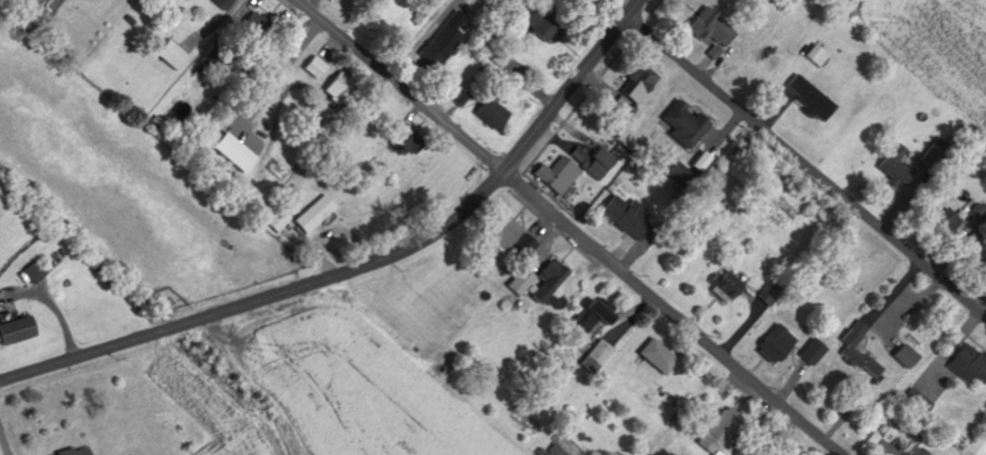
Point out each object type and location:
building: (223, 4)
building: (423, 12)
building: (259, 22)
building: (535, 27)
building: (711, 27)
building: (441, 42)
building: (171, 55)
building: (313, 67)
building: (638, 84)
road: (398, 86)
building: (336, 87)
road: (572, 87)
building: (810, 98)
building: (488, 113)
building: (682, 124)
building: (402, 140)
building: (231, 152)
building: (579, 154)
building: (598, 162)
road: (806, 165)
building: (894, 167)
building: (682, 172)
building: (556, 175)
building: (314, 214)
building: (976, 214)
building: (624, 216)
building: (941, 217)
building: (500, 233)
building: (523, 245)
building: (33, 272)
building: (549, 280)
building: (520, 281)
building: (724, 286)
road: (262, 298)
road: (53, 304)
road: (669, 314)
building: (588, 318)
building: (14, 330)
building: (774, 344)
building: (857, 350)
building: (811, 352)
building: (904, 356)
building: (596, 357)
building: (657, 357)
building: (565, 358)
road: (460, 362)
building: (968, 364)
building: (918, 401)
building: (718, 431)
road: (4, 439)
building: (72, 451)
building: (918, 451)

